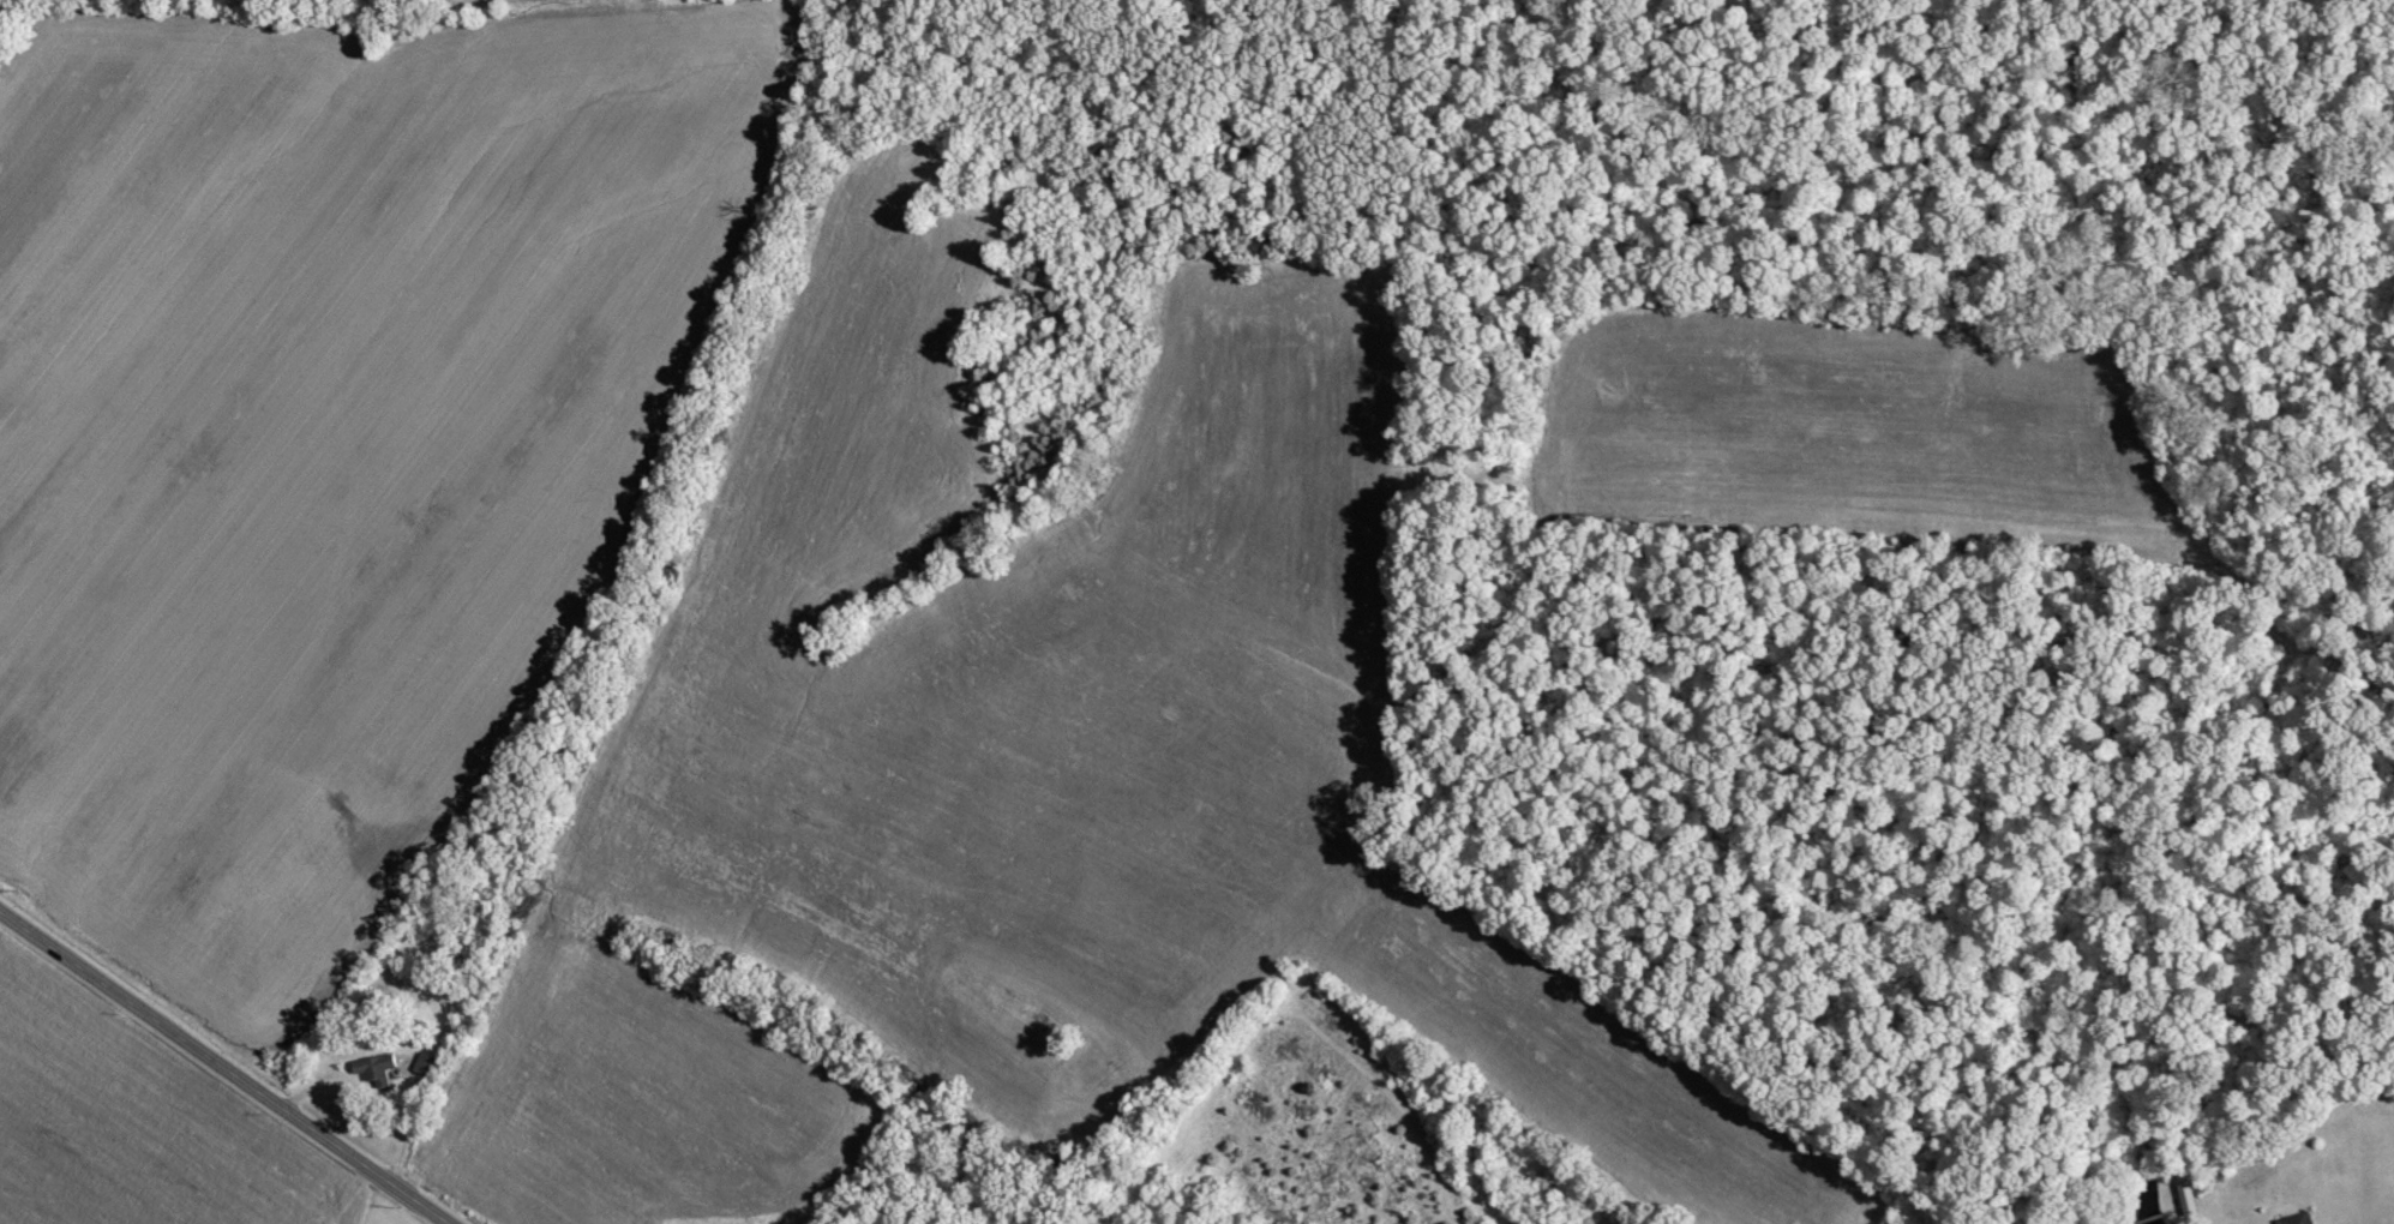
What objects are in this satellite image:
crop: (1855, 425)
road: (220, 1072)
building: (376, 1072)
building: (2188, 1198)
road: (2144, 1218)
building: (2297, 1219)

